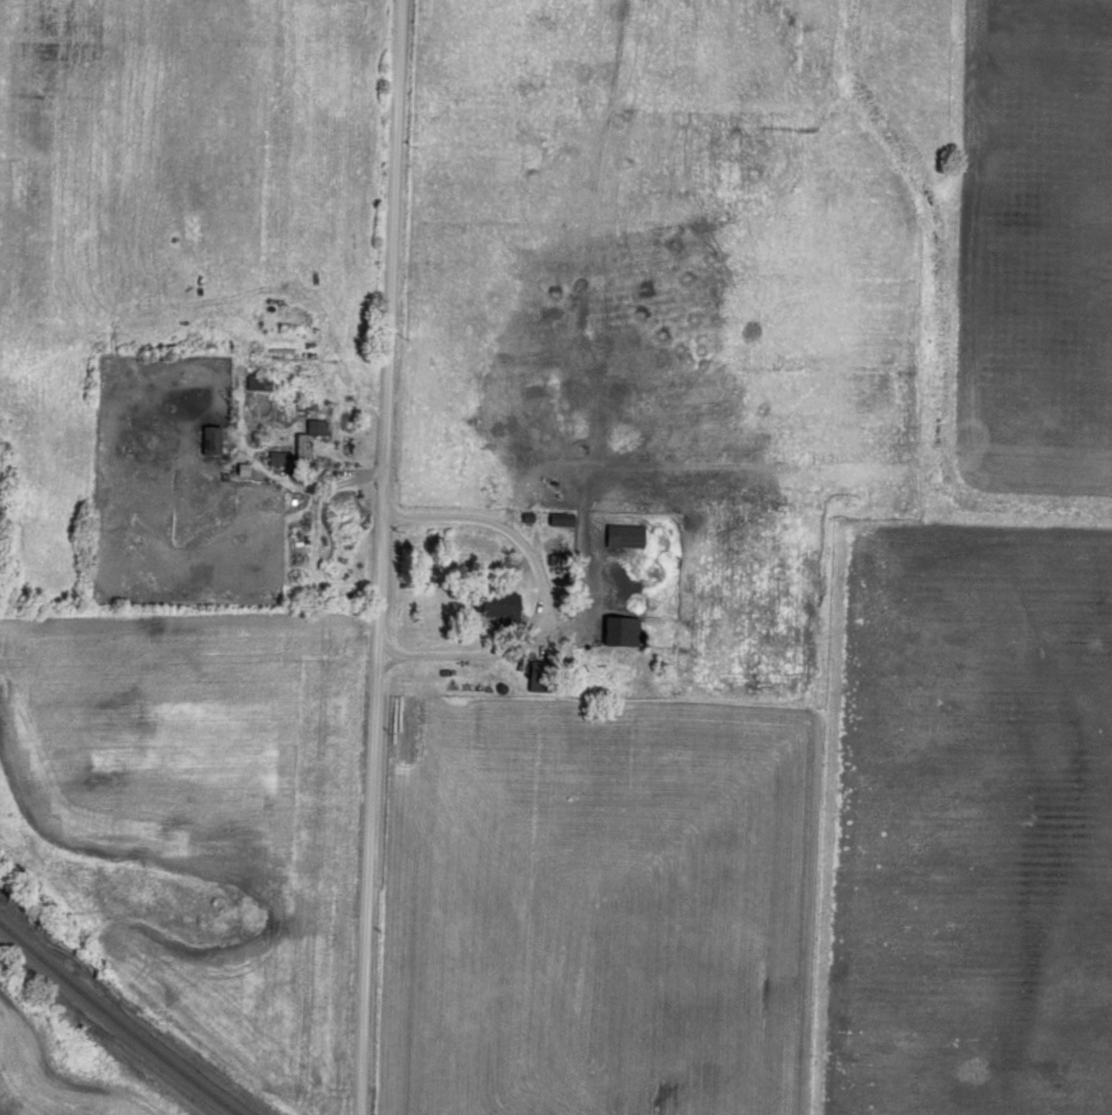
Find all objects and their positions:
building: (212, 437)
building: (629, 533)
road: (381, 557)
road: (543, 592)
building: (508, 603)
building: (627, 627)
railway: (119, 1021)

